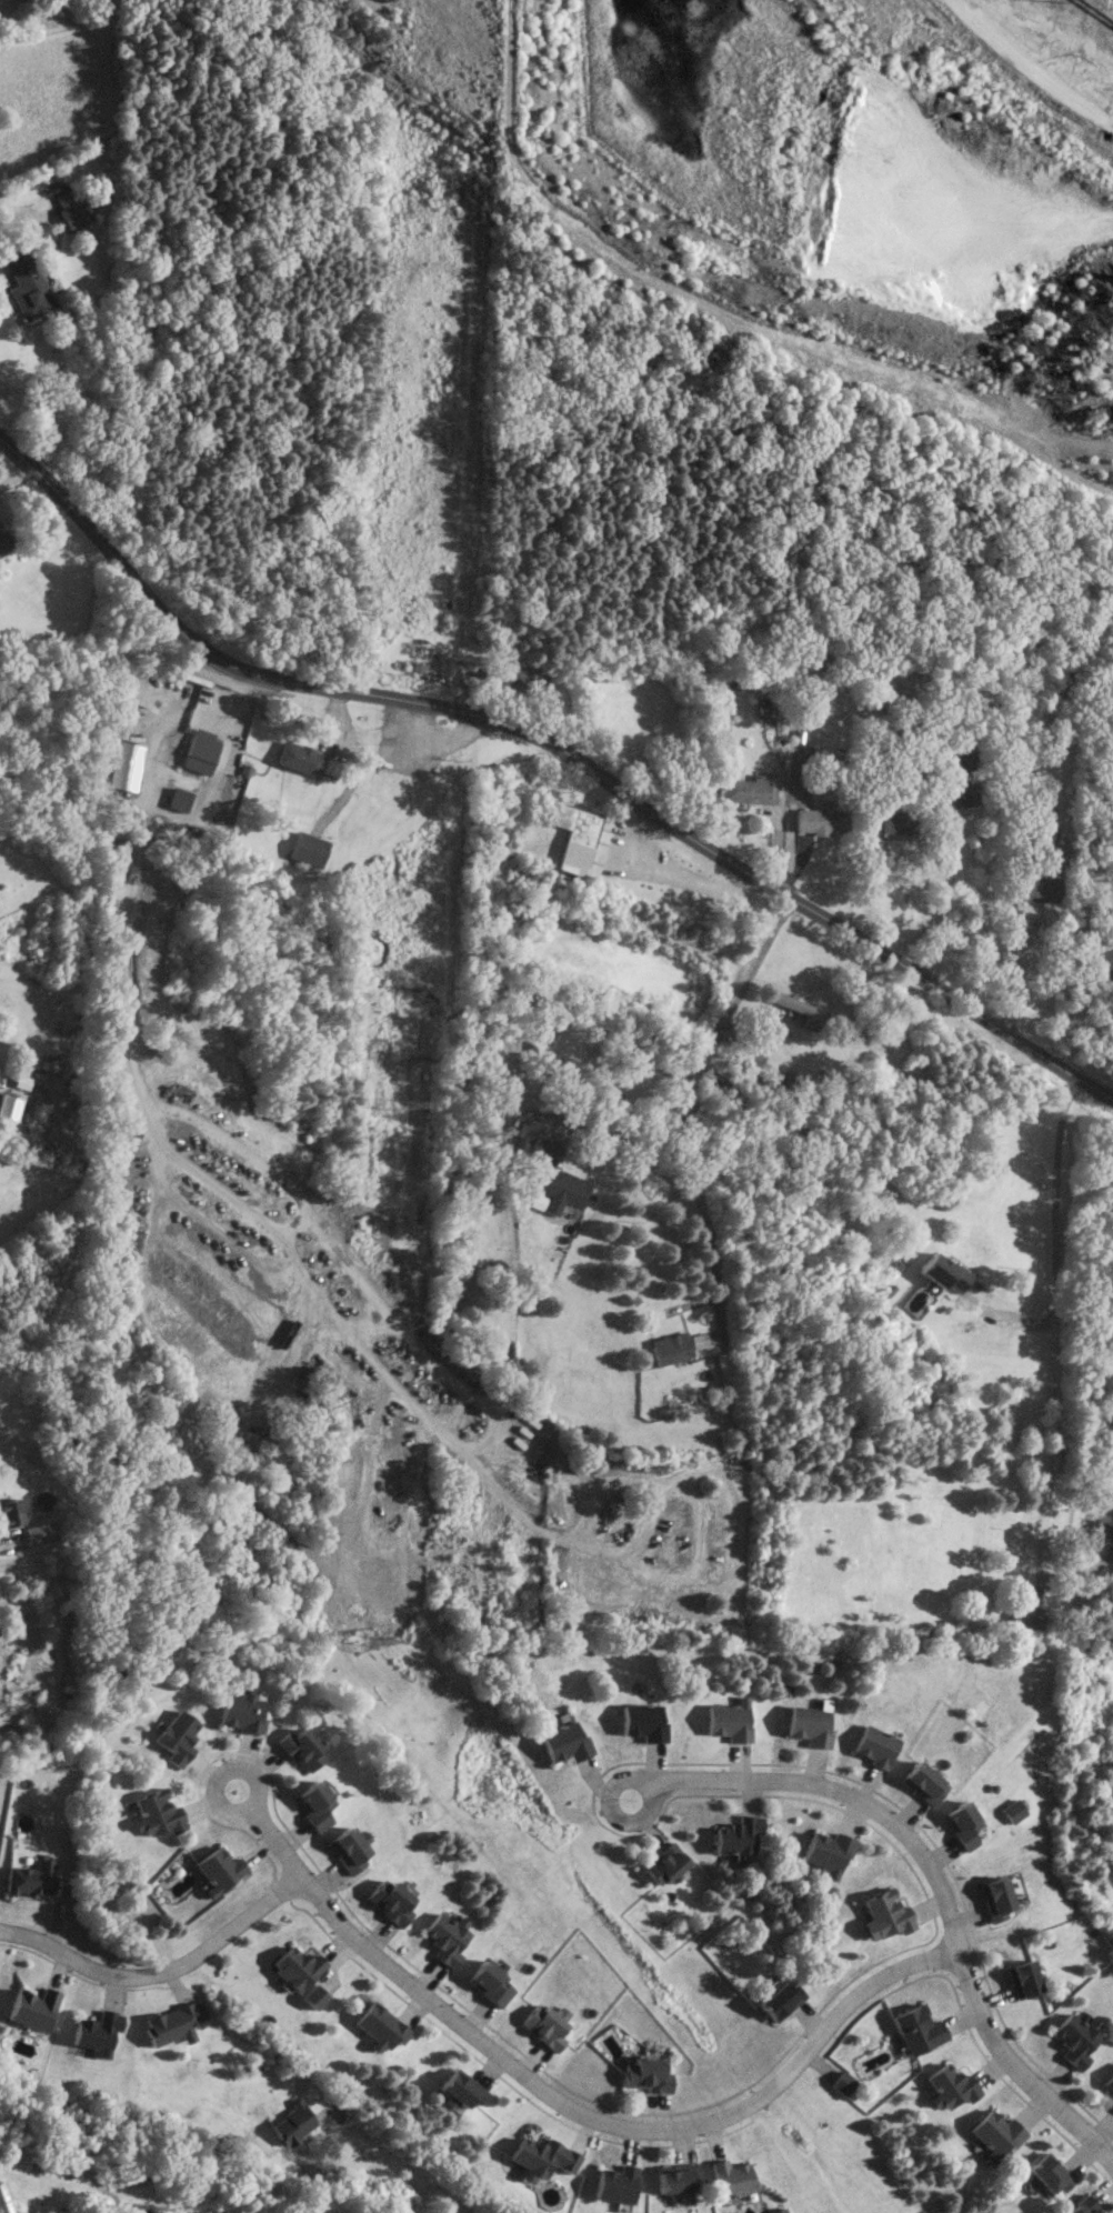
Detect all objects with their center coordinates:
building: (73, 210)
building: (28, 283)
road: (13, 474)
building: (3, 540)
road: (460, 677)
building: (515, 678)
road: (442, 731)
road: (554, 743)
building: (198, 753)
building: (297, 758)
building: (966, 758)
building: (123, 767)
building: (748, 789)
building: (957, 792)
building: (177, 799)
building: (819, 820)
building: (894, 823)
building: (571, 837)
building: (304, 849)
building: (112, 864)
road: (692, 880)
road: (942, 884)
building: (1041, 888)
building: (1104, 954)
road: (1013, 971)
building: (803, 1011)
road: (695, 1065)
road: (137, 1075)
power tower: (389, 1105)
building: (9, 1106)
building: (520, 1134)
building: (559, 1189)
road: (700, 1220)
building: (937, 1273)
road: (1063, 1316)
building: (669, 1348)
road: (487, 1441)
building: (8, 1513)
building: (1103, 1526)
building: (36, 1533)
building: (1023, 1615)
power tower: (362, 1641)
building: (237, 1713)
building: (726, 1721)
building: (640, 1723)
building: (805, 1726)
building: (174, 1738)
building: (562, 1742)
building: (869, 1748)
building: (297, 1749)
road: (245, 1769)
building: (918, 1784)
road: (644, 1785)
building: (311, 1805)
building: (157, 1812)
building: (1007, 1812)
building: (957, 1825)
building: (734, 1835)
building: (345, 1851)
building: (824, 1854)
building: (663, 1864)
building: (220, 1870)
building: (33, 1879)
road: (936, 1885)
building: (992, 1899)
building: (388, 1902)
building: (883, 1914)
building: (445, 1939)
building: (298, 1966)
road: (163, 1979)
building: (1022, 1980)
building: (489, 1984)
building: (315, 1997)
building: (778, 2000)
building: (34, 2006)
building: (176, 2023)
building: (545, 2024)
building: (381, 2026)
building: (916, 2030)
building: (98, 2031)
building: (1074, 2037)
building: (644, 2075)
building: (1109, 2083)
building: (950, 2086)
building: (462, 2087)
building: (1112, 2103)
road: (578, 2111)
building: (294, 2122)
building: (994, 2134)
building: (537, 2154)
building: (1046, 2173)
building: (675, 2177)
building: (731, 2177)
building: (615, 2182)
building: (4, 2197)
building: (1081, 2206)
building: (780, 2211)

